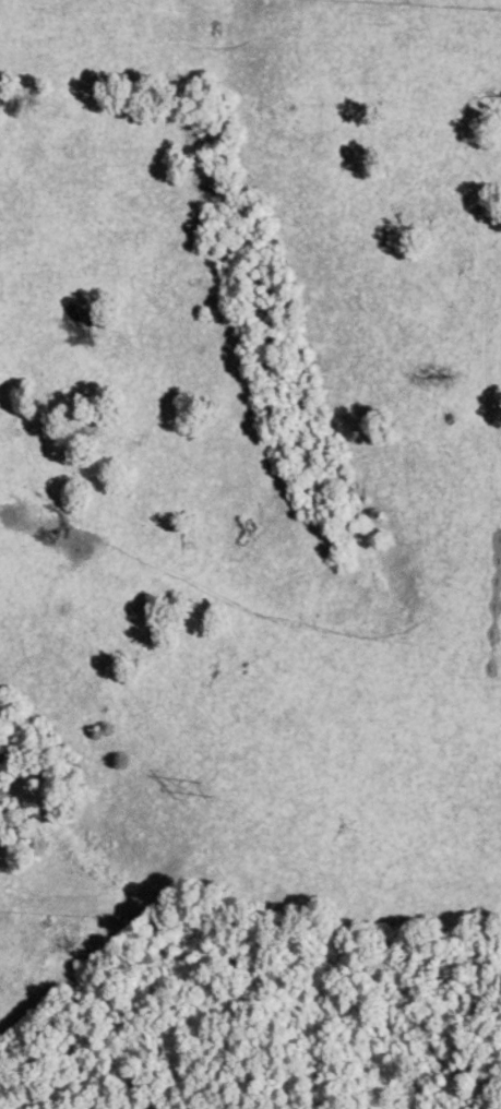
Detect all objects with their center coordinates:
power tower: (199, 796)

